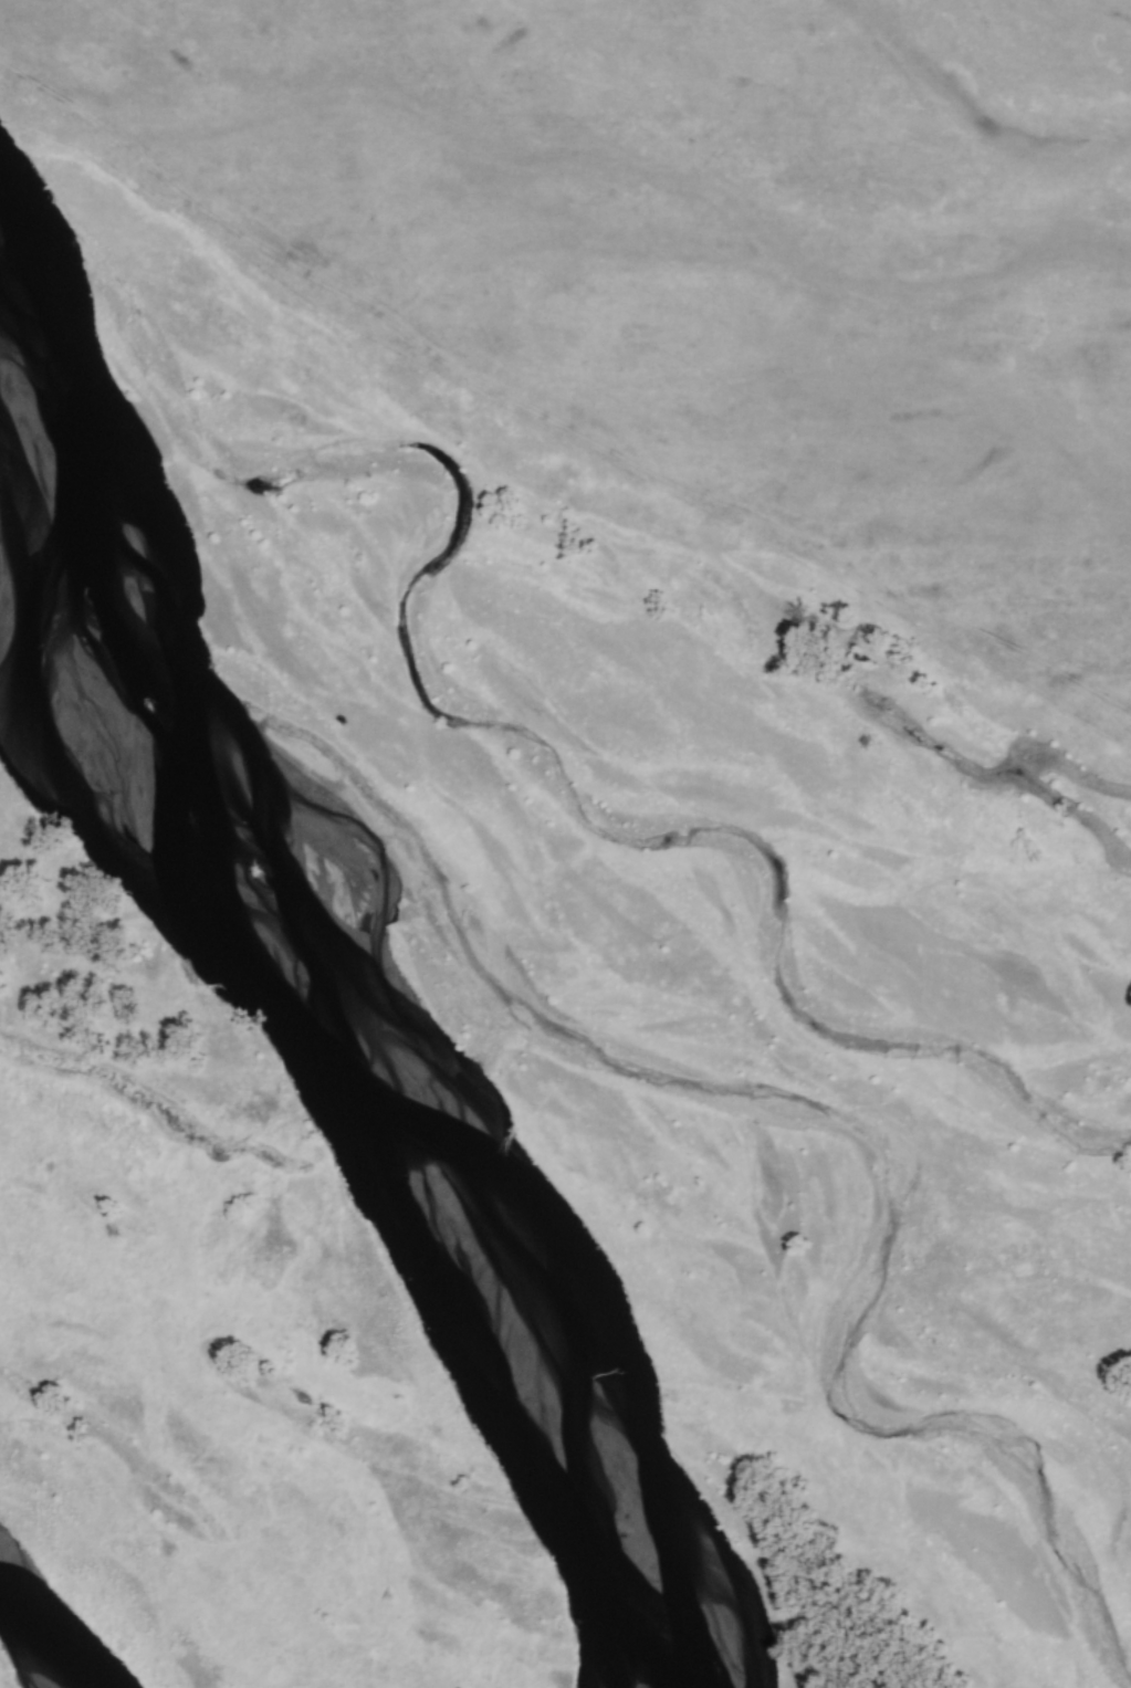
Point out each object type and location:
river: (311, 1000)

